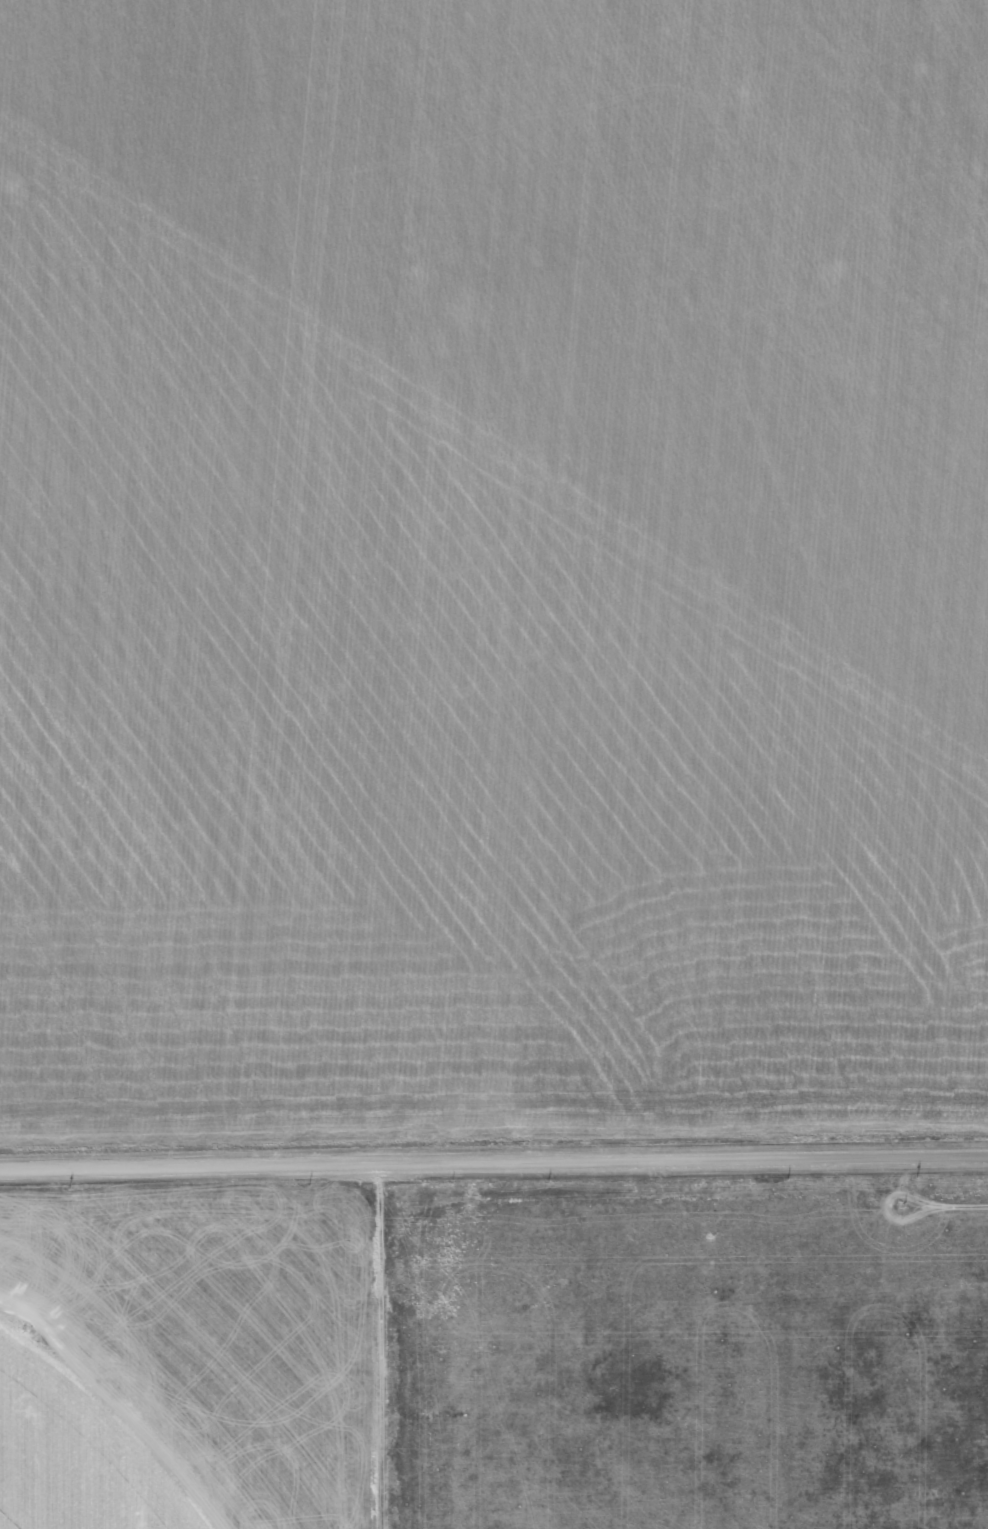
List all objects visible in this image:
road: (494, 1163)

